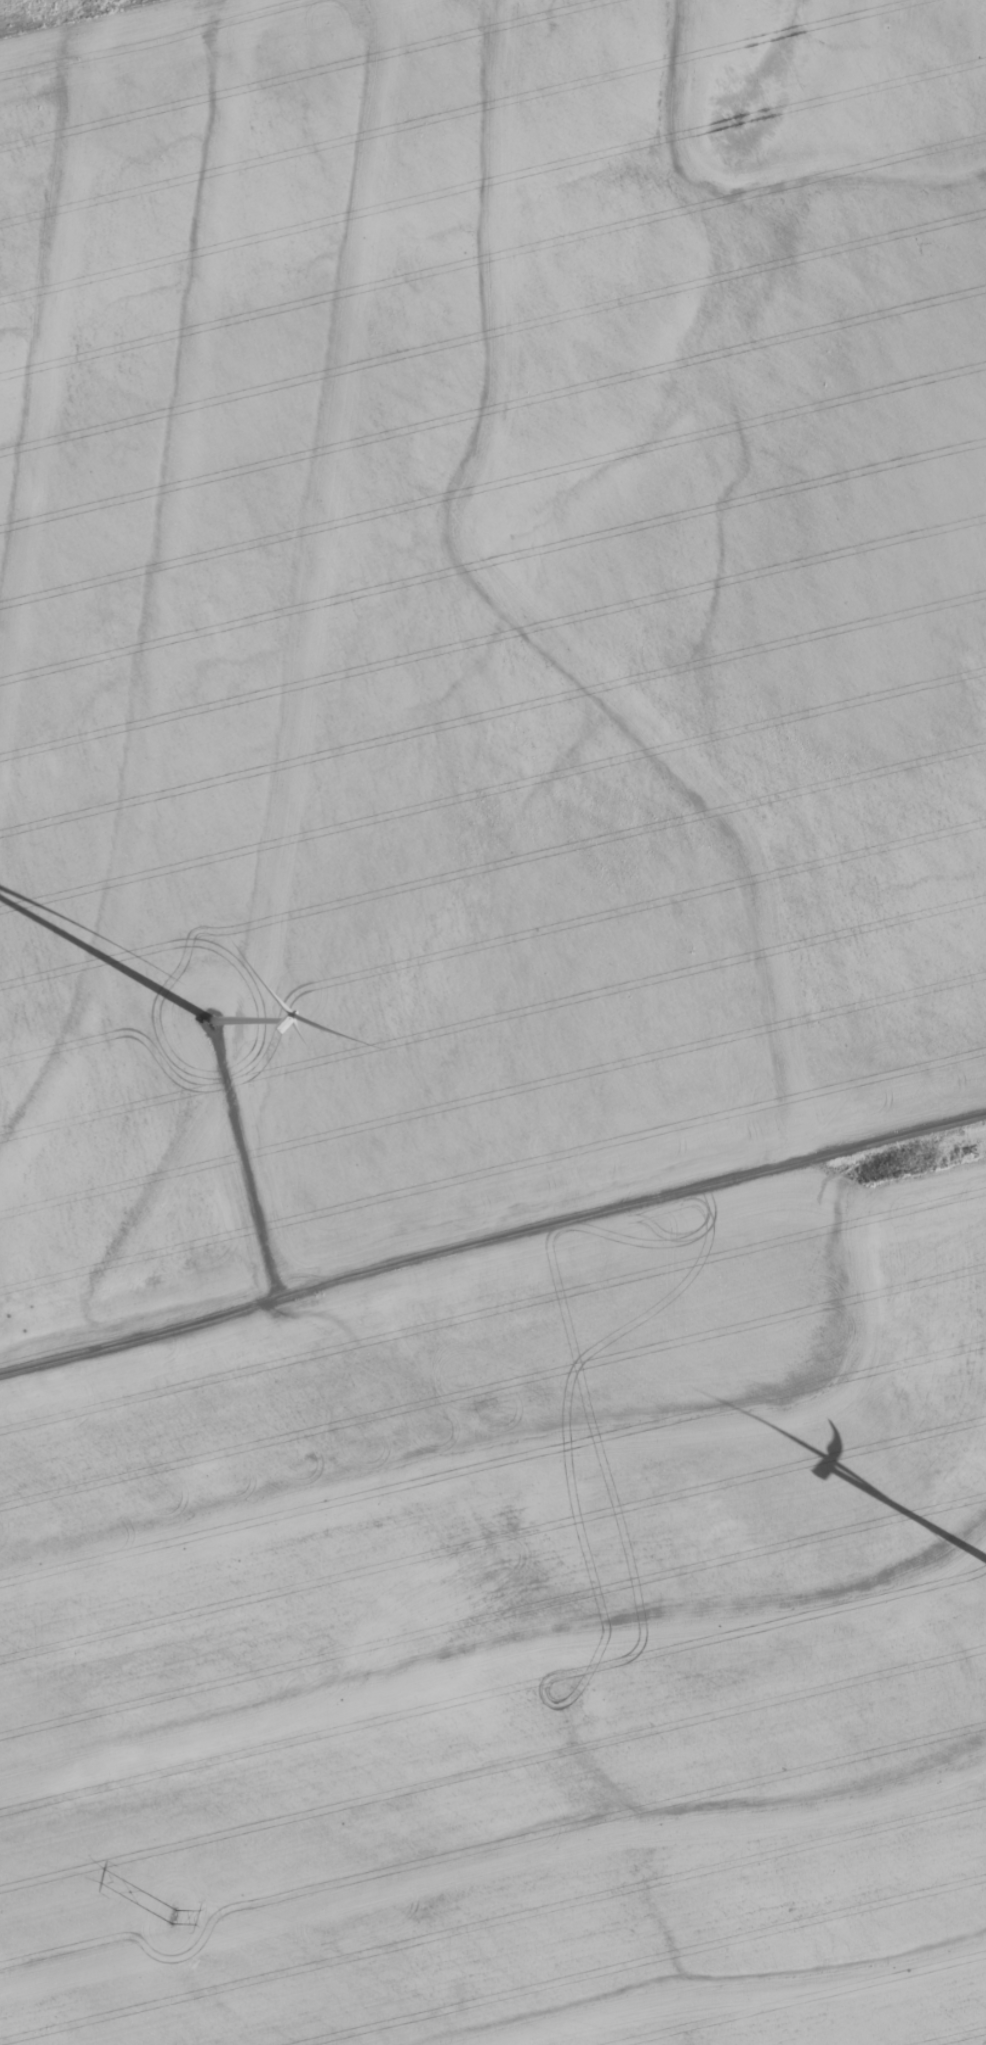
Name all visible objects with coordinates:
wind turbine: (205, 1025)
road: (881, 1120)
power tower: (171, 1918)

